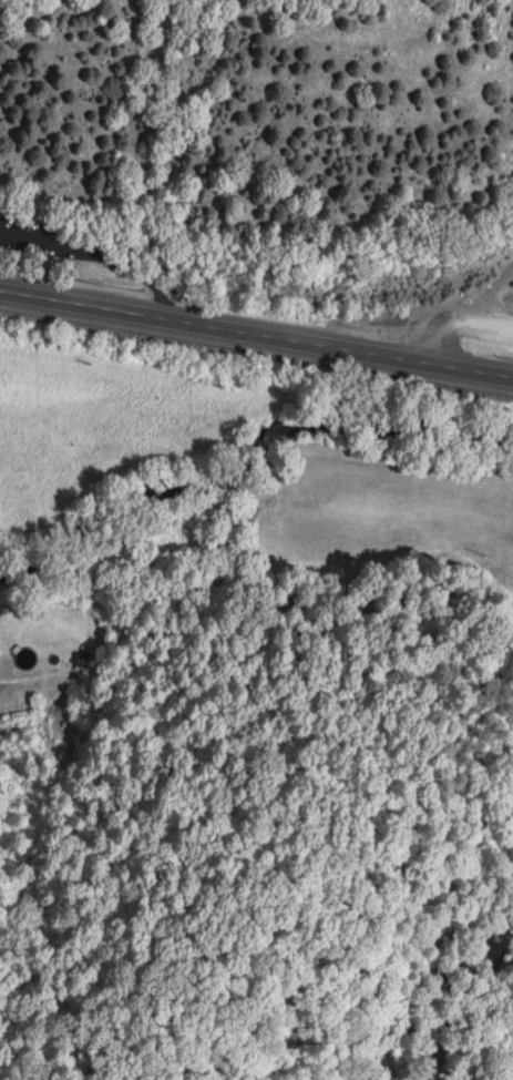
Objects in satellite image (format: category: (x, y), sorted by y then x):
road: (256, 332)

